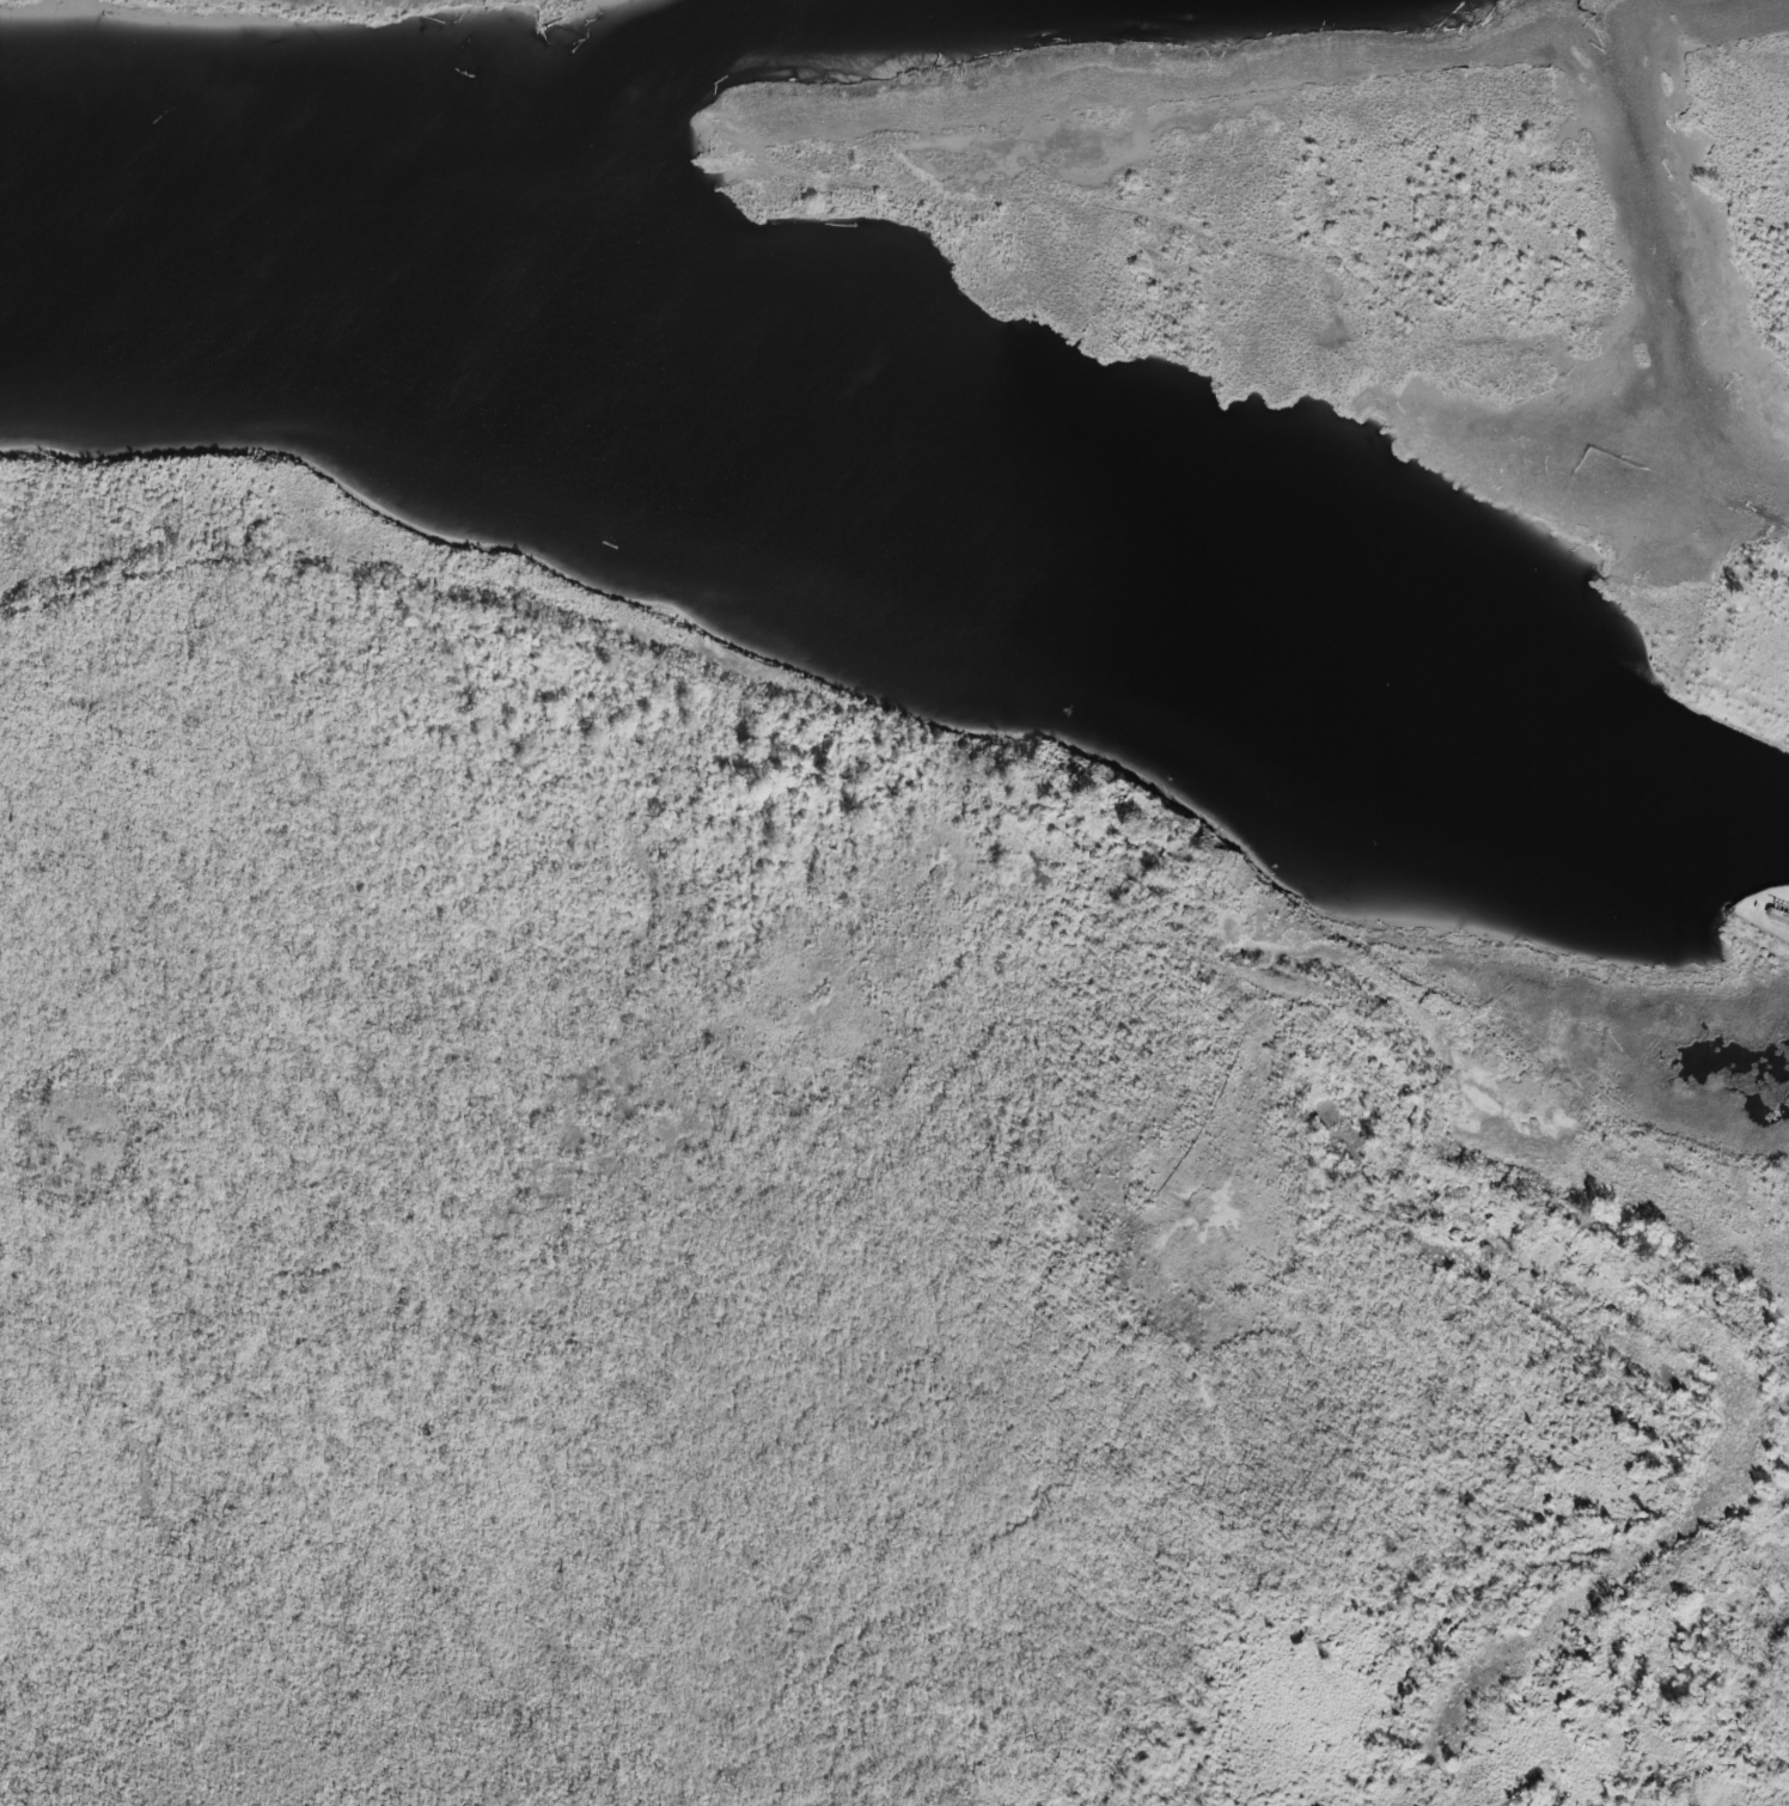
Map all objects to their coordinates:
road: (1750, 704)
building: (1550, 719)

